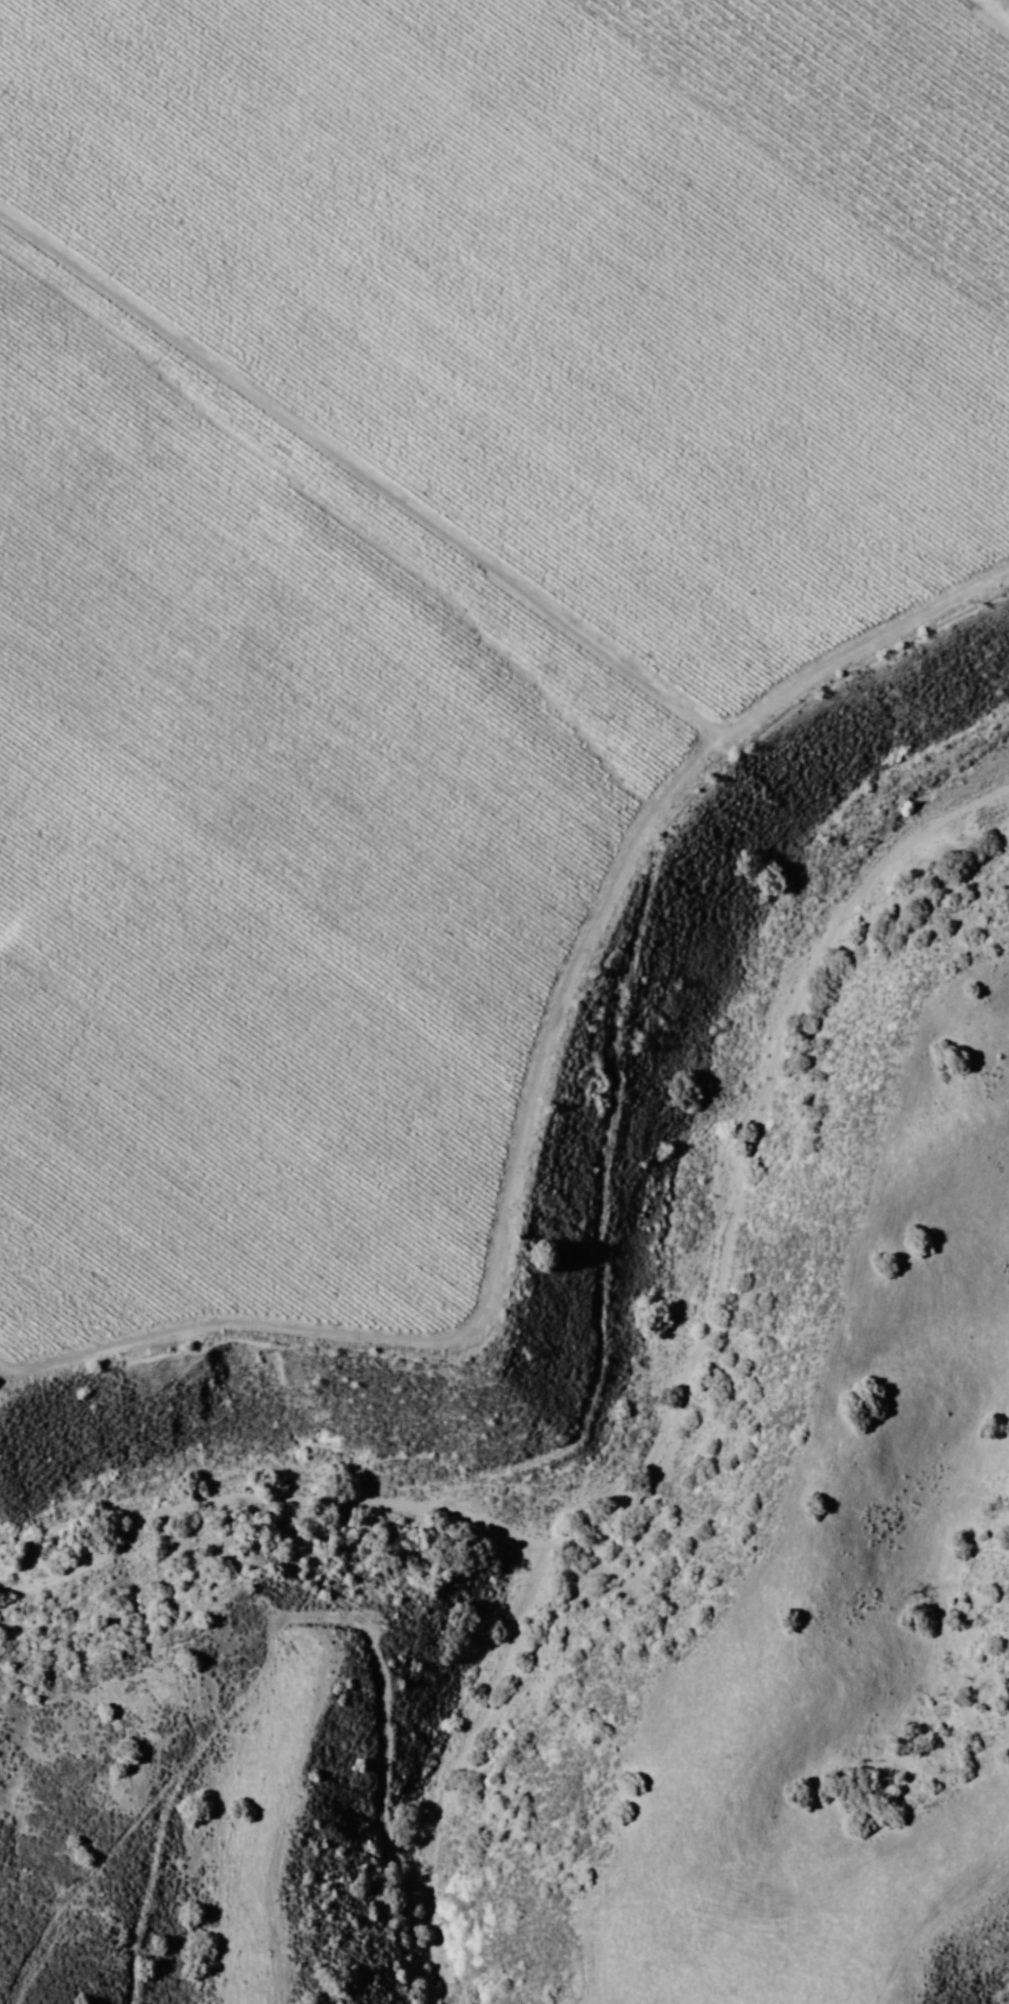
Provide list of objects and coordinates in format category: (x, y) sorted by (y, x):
road: (666, 1429)

